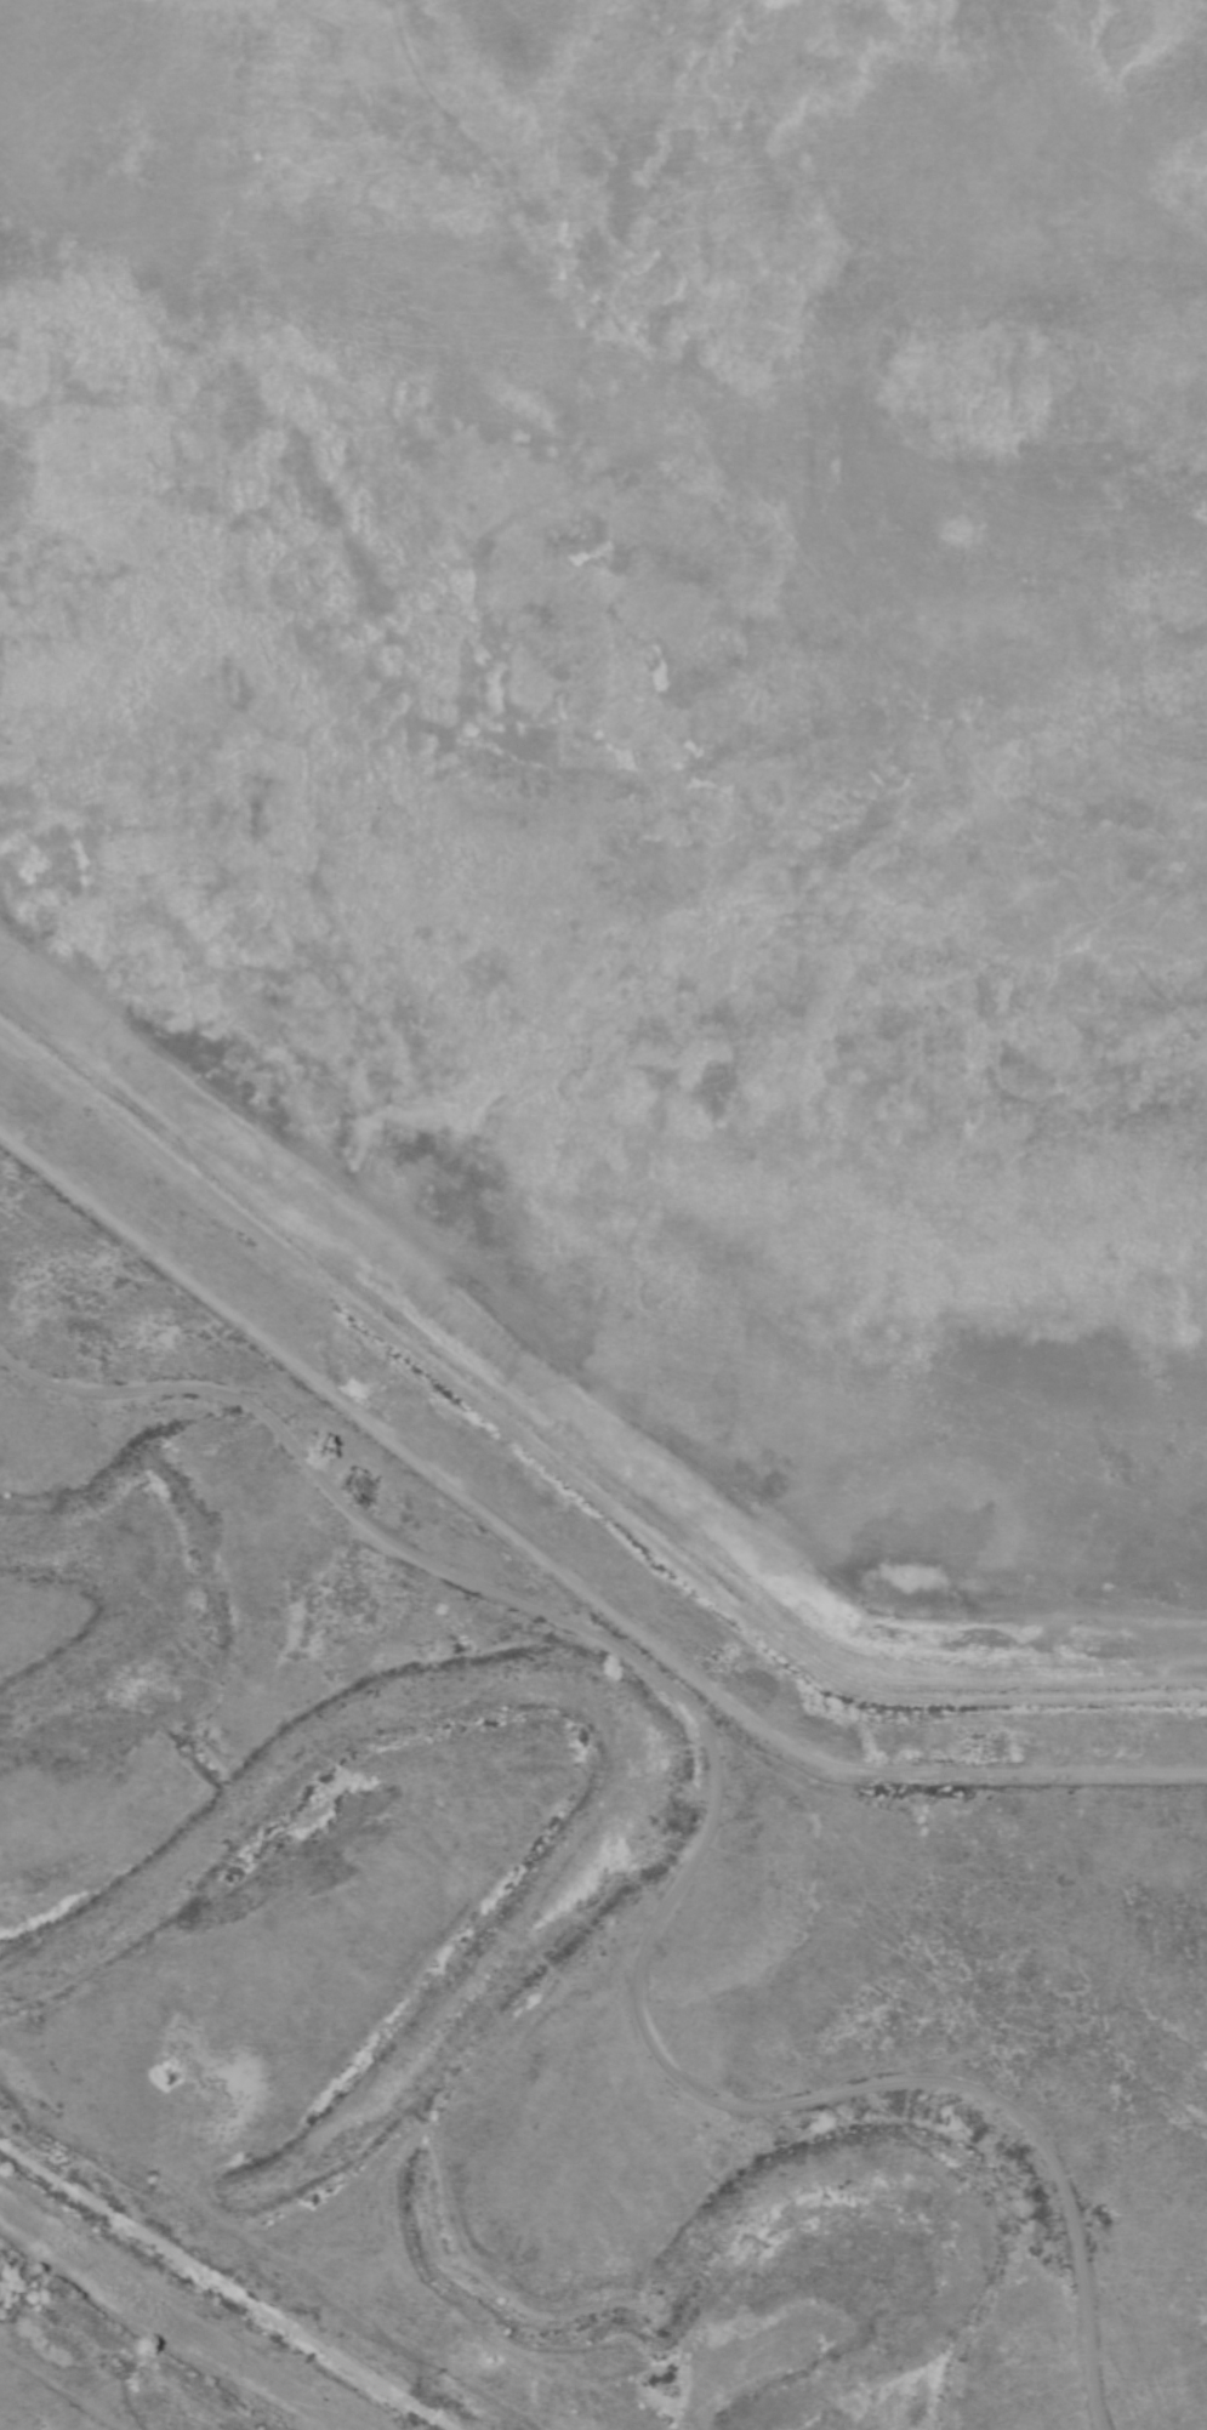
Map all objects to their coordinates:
crop: (653, 780)
road: (700, 1837)

